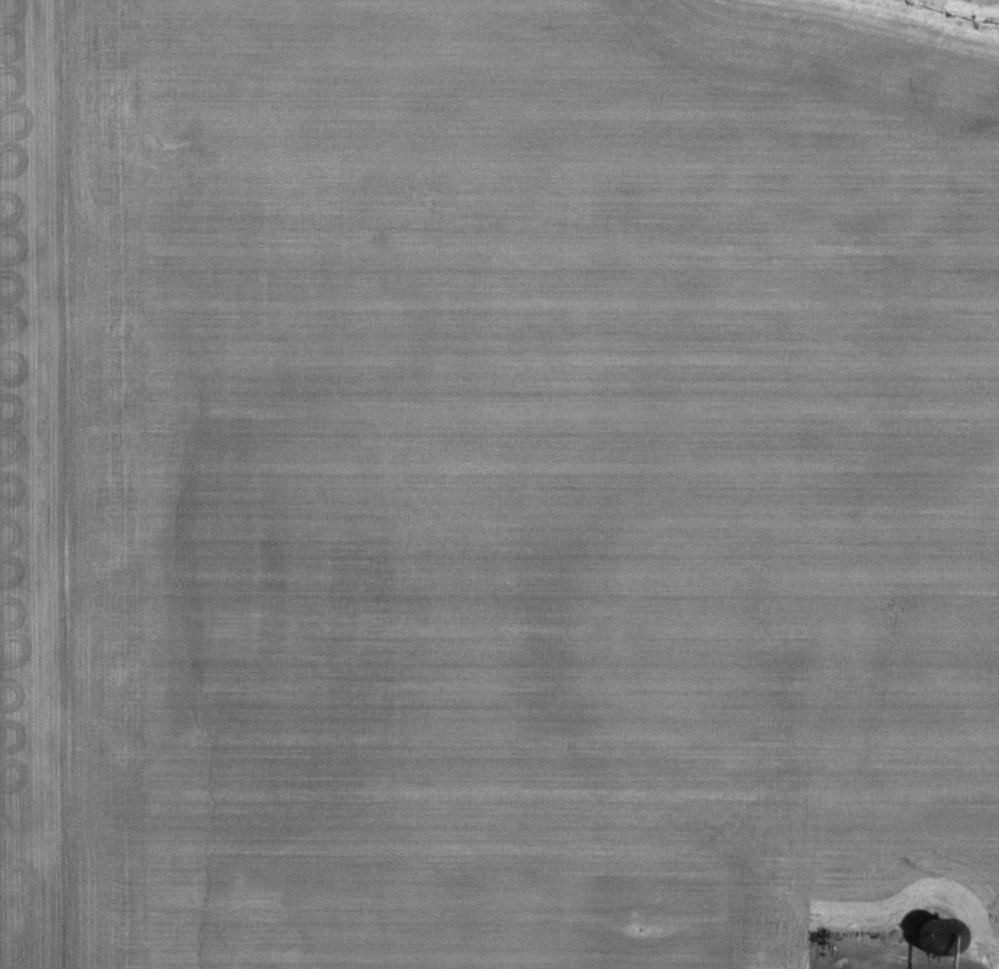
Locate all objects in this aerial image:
crop: (498, 483)
building: (931, 938)

